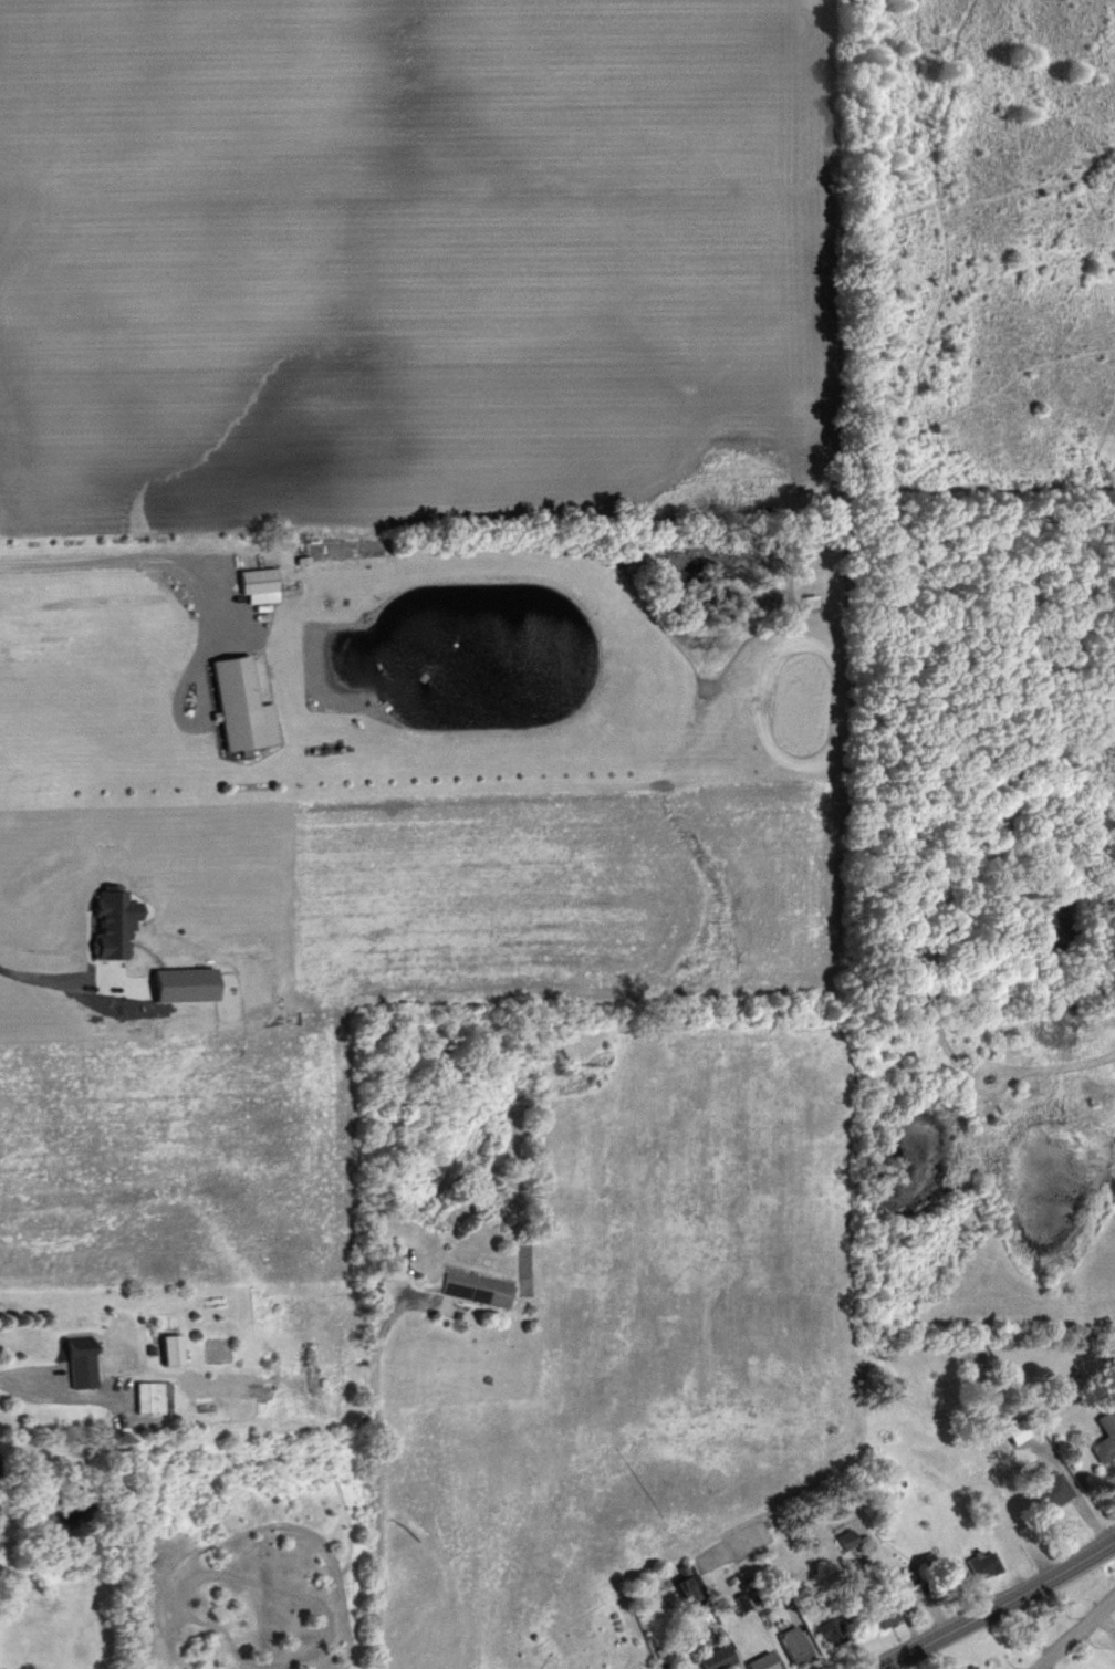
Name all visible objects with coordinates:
road: (125, 556)
building: (260, 584)
building: (116, 922)
road: (43, 977)
building: (188, 983)
building: (476, 1286)
building: (173, 1347)
building: (83, 1366)
road: (20, 1388)
building: (150, 1395)
building: (1018, 1429)
building: (1105, 1436)
road: (376, 1478)
building: (1056, 1485)
building: (982, 1563)
building: (689, 1585)
building: (742, 1600)
road: (1000, 1605)
building: (886, 1615)
road: (1075, 1629)
building: (833, 1630)
building: (793, 1642)
building: (718, 1657)
building: (763, 1661)
building: (972, 1667)

